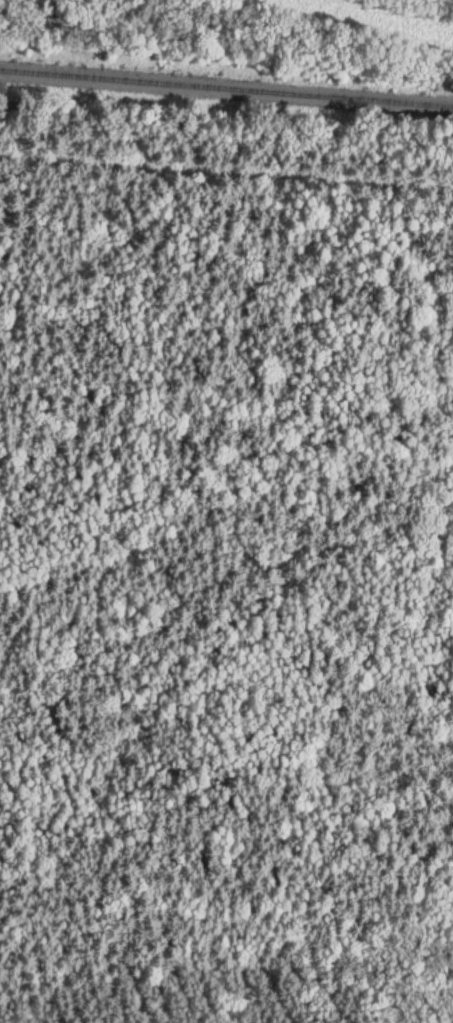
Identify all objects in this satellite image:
railway: (226, 88)

